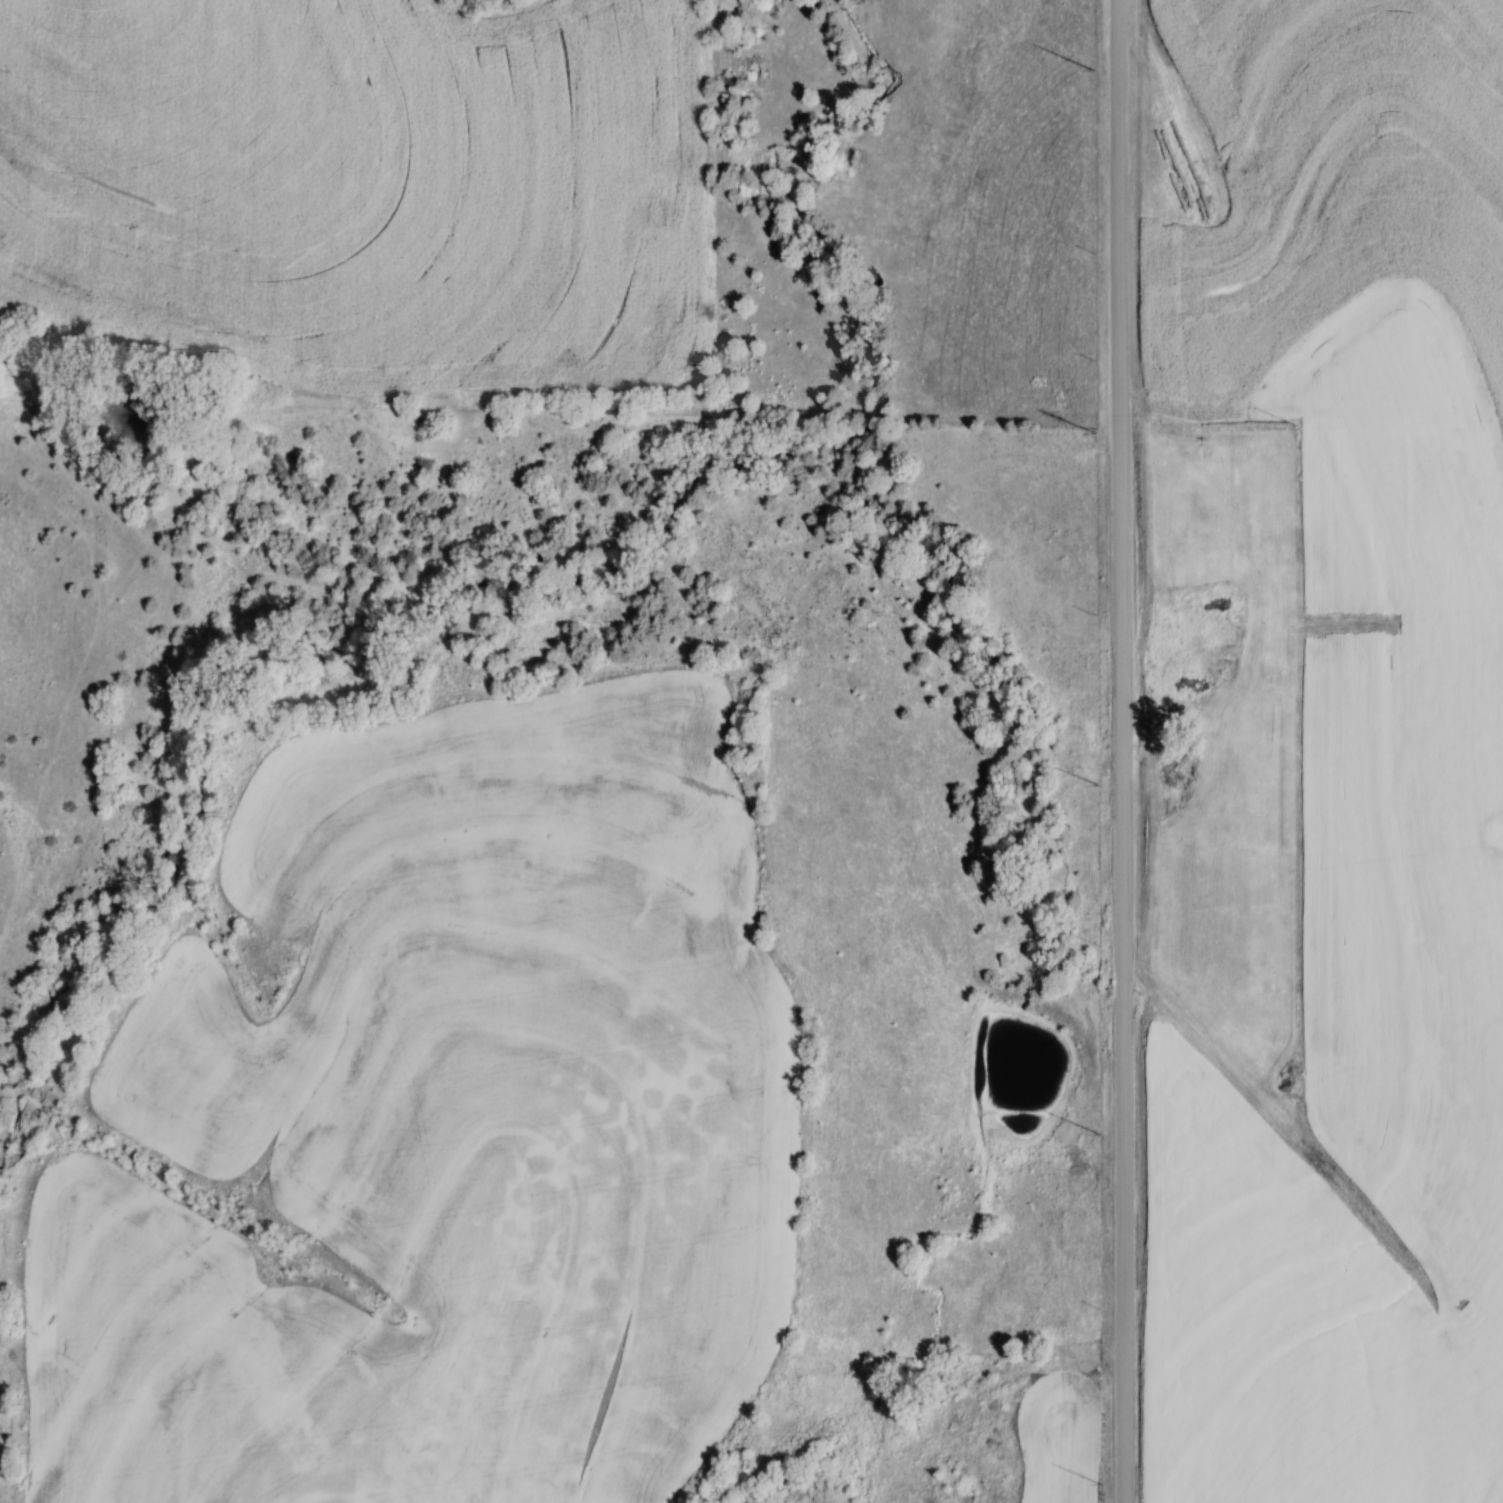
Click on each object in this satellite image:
road: (1127, 751)

